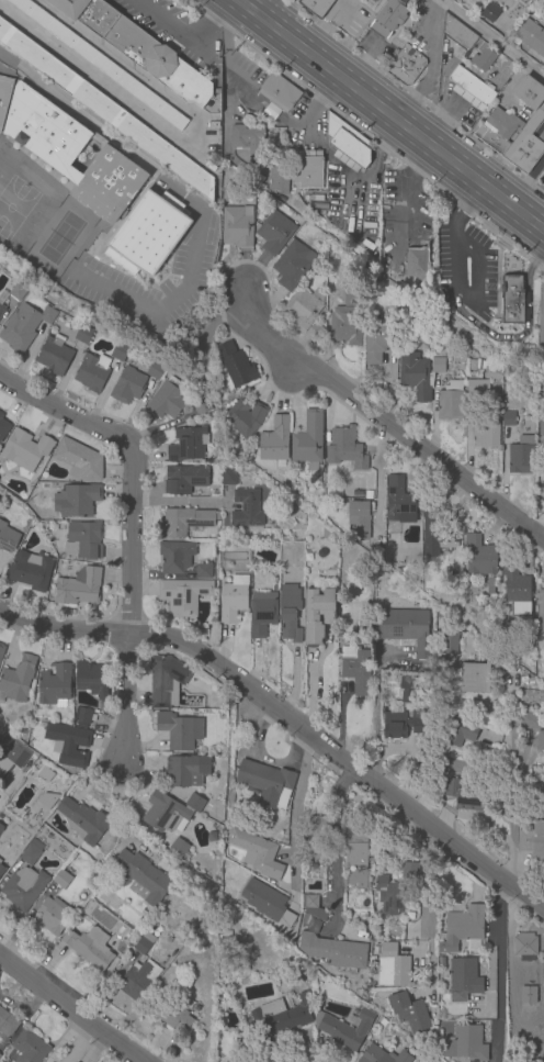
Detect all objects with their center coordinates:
building: (514, 0)
building: (373, 1)
building: (316, 7)
road: (263, 8)
building: (490, 13)
road: (216, 16)
parking lot: (348, 16)
building: (388, 18)
road: (321, 25)
parking lot: (175, 32)
road: (177, 32)
building: (457, 33)
building: (531, 35)
road: (490, 40)
parking lot: (375, 47)
parking lot: (428, 47)
road: (428, 47)
building: (139, 48)
building: (484, 59)
building: (100, 63)
building: (406, 66)
parking lot: (238, 86)
parking lot: (443, 87)
building: (471, 88)
building: (280, 92)
building: (4, 97)
building: (213, 100)
building: (106, 110)
road: (413, 111)
road: (390, 115)
parking lot: (305, 125)
building: (515, 128)
building: (249, 141)
building: (347, 144)
building: (72, 155)
road: (336, 164)
building: (306, 169)
building: (279, 177)
building: (542, 177)
parking lot: (353, 202)
road: (354, 202)
parking lot: (406, 202)
park: (14, 204)
road: (469, 205)
building: (238, 226)
building: (275, 233)
building: (149, 234)
park: (59, 237)
road: (539, 259)
building: (417, 264)
building: (293, 265)
parking lot: (466, 266)
road: (456, 267)
road: (478, 275)
building: (18, 291)
building: (353, 295)
building: (514, 301)
building: (1, 311)
building: (305, 311)
parking lot: (541, 317)
building: (345, 325)
building: (24, 326)
building: (83, 334)
road: (521, 336)
building: (376, 343)
building: (118, 351)
building: (54, 355)
building: (236, 366)
building: (438, 366)
building: (486, 369)
building: (155, 370)
building: (91, 372)
building: (415, 375)
building: (474, 376)
building: (128, 385)
building: (477, 388)
building: (167, 400)
building: (451, 402)
building: (202, 405)
building: (543, 416)
building: (246, 417)
road: (382, 418)
building: (509, 418)
building: (3, 427)
building: (486, 432)
building: (309, 441)
building: (276, 443)
building: (188, 445)
building: (542, 445)
building: (344, 448)
building: (26, 449)
building: (522, 456)
building: (79, 460)
road: (131, 468)
building: (229, 478)
building: (185, 479)
building: (541, 491)
building: (353, 495)
building: (369, 495)
building: (77, 500)
road: (183, 500)
building: (398, 500)
building: (247, 508)
building: (359, 518)
building: (186, 521)
building: (438, 528)
building: (7, 537)
building: (82, 540)
building: (480, 556)
building: (175, 557)
building: (31, 571)
building: (204, 571)
building: (490, 585)
building: (79, 586)
building: (517, 589)
building: (183, 595)
building: (234, 599)
building: (541, 611)
building: (262, 613)
building: (290, 613)
building: (318, 614)
building: (362, 626)
building: (407, 628)
road: (60, 630)
building: (450, 640)
building: (1, 650)
building: (356, 668)
building: (475, 678)
building: (18, 679)
building: (92, 679)
road: (311, 679)
building: (166, 680)
building: (56, 685)
building: (407, 690)
road: (124, 702)
road: (374, 715)
building: (82, 716)
building: (533, 723)
building: (403, 724)
building: (42, 727)
building: (180, 730)
building: (460, 731)
building: (541, 741)
building: (68, 744)
building: (8, 749)
road: (341, 759)
building: (186, 770)
building: (263, 781)
road: (511, 786)
building: (463, 794)
building: (194, 803)
road: (294, 812)
building: (166, 813)
building: (84, 821)
building: (0, 827)
building: (317, 837)
building: (532, 840)
building: (75, 841)
road: (333, 842)
building: (179, 848)
building: (356, 848)
building: (31, 852)
building: (257, 854)
building: (0, 861)
building: (1, 870)
building: (409, 870)
building: (140, 877)
building: (63, 880)
road: (426, 881)
building: (24, 888)
building: (389, 895)
building: (268, 904)
building: (314, 907)
building: (53, 916)
building: (305, 919)
building: (136, 923)
building: (313, 926)
building: (463, 928)
building: (144, 943)
building: (89, 946)
building: (525, 947)
building: (335, 951)
building: (171, 957)
building: (441, 962)
building: (512, 964)
building: (393, 968)
road: (499, 970)
building: (463, 979)
building: (138, 981)
building: (543, 987)
road: (71, 1007)
building: (408, 1011)
building: (171, 1015)
building: (281, 1016)
building: (7, 1022)
building: (383, 1022)
building: (344, 1028)
road: (77, 1042)
building: (466, 1044)
building: (30, 1048)
building: (384, 1055)
building: (235, 1061)

